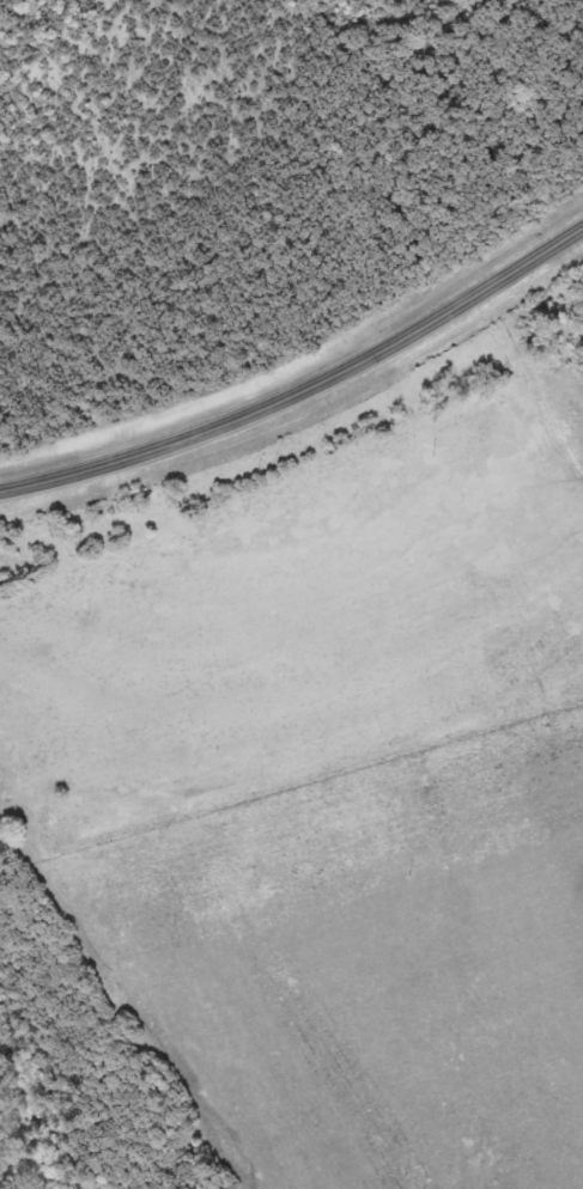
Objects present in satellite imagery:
road: (303, 391)

